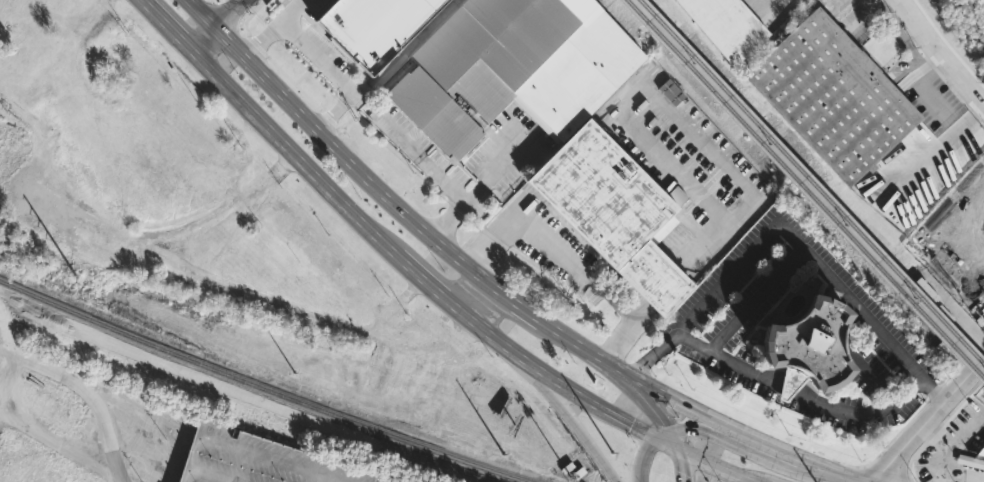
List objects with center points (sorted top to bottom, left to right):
road: (781, 5)
road: (215, 9)
road: (291, 10)
road: (219, 24)
building: (723, 25)
building: (378, 27)
road: (403, 45)
road: (907, 51)
road: (942, 52)
road: (319, 56)
building: (509, 67)
building: (829, 94)
road: (925, 98)
building: (3, 137)
road: (329, 139)
road: (661, 150)
road: (930, 153)
road: (438, 175)
road: (325, 182)
railway: (812, 183)
railway: (806, 190)
road: (744, 197)
building: (608, 210)
road: (173, 228)
road: (514, 228)
building: (956, 231)
road: (340, 269)
road: (726, 278)
road: (507, 299)
road: (756, 299)
road: (849, 300)
road: (630, 313)
building: (220, 340)
road: (570, 340)
building: (795, 344)
road: (653, 355)
road: (615, 367)
road: (950, 374)
road: (964, 378)
railway: (260, 386)
road: (931, 389)
road: (85, 391)
railway: (245, 391)
road: (799, 391)
road: (635, 392)
road: (934, 392)
road: (582, 398)
road: (962, 398)
building: (413, 409)
road: (697, 412)
road: (566, 417)
road: (965, 429)
traffic signals: (669, 430)
road: (932, 432)
road: (661, 434)
road: (716, 434)
road: (936, 435)
parking lot: (145, 437)
traffic signals: (654, 438)
road: (673, 439)
road: (890, 440)
road: (908, 440)
road: (665, 443)
traffic signals: (677, 448)
road: (783, 452)
road: (642, 458)
road: (908, 459)
building: (972, 459)
building: (257, 460)
parking garage: (257, 460)
road: (681, 464)
road: (719, 465)
road: (831, 470)
road: (937, 470)

